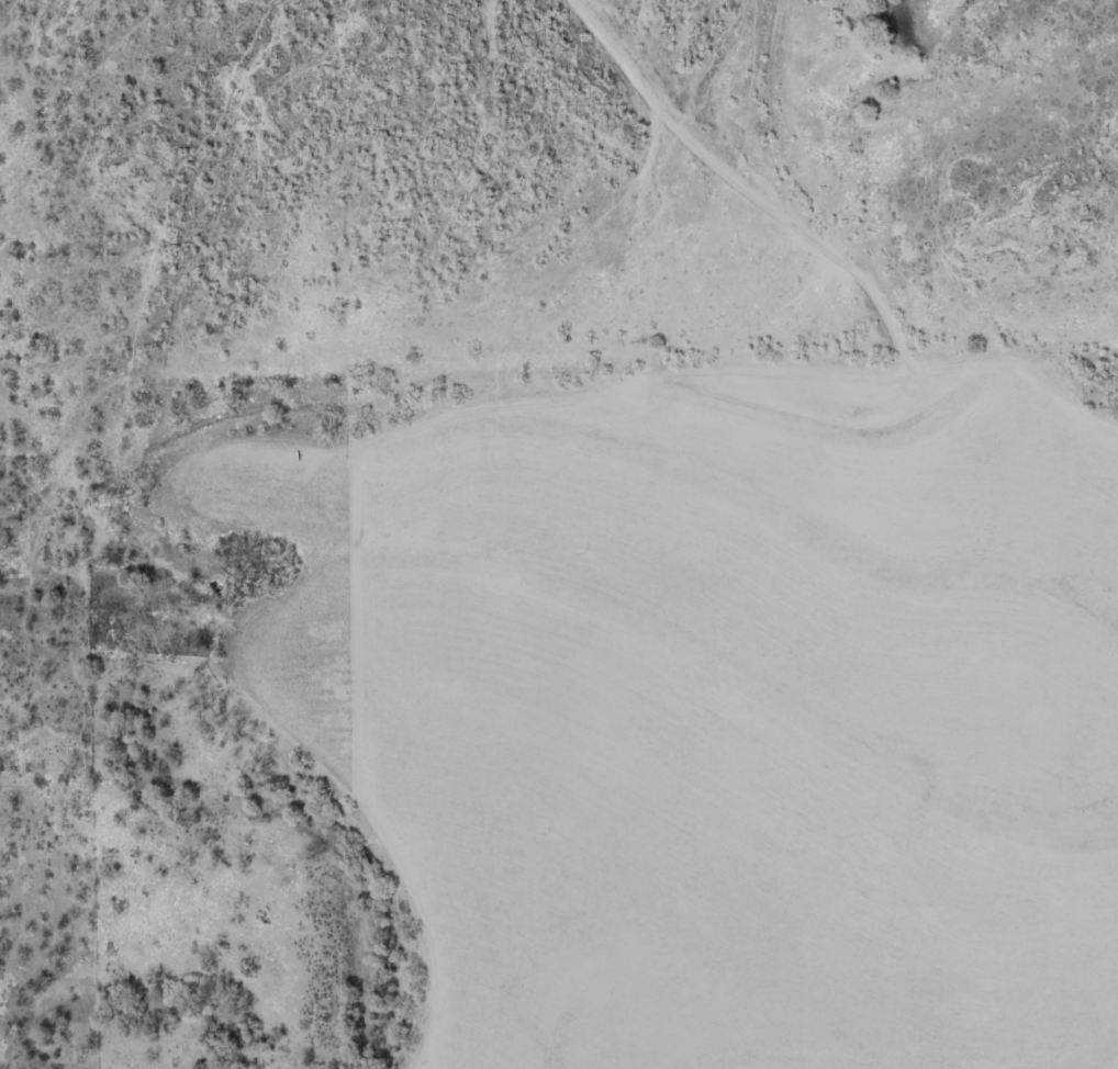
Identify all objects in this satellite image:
road: (867, 282)

